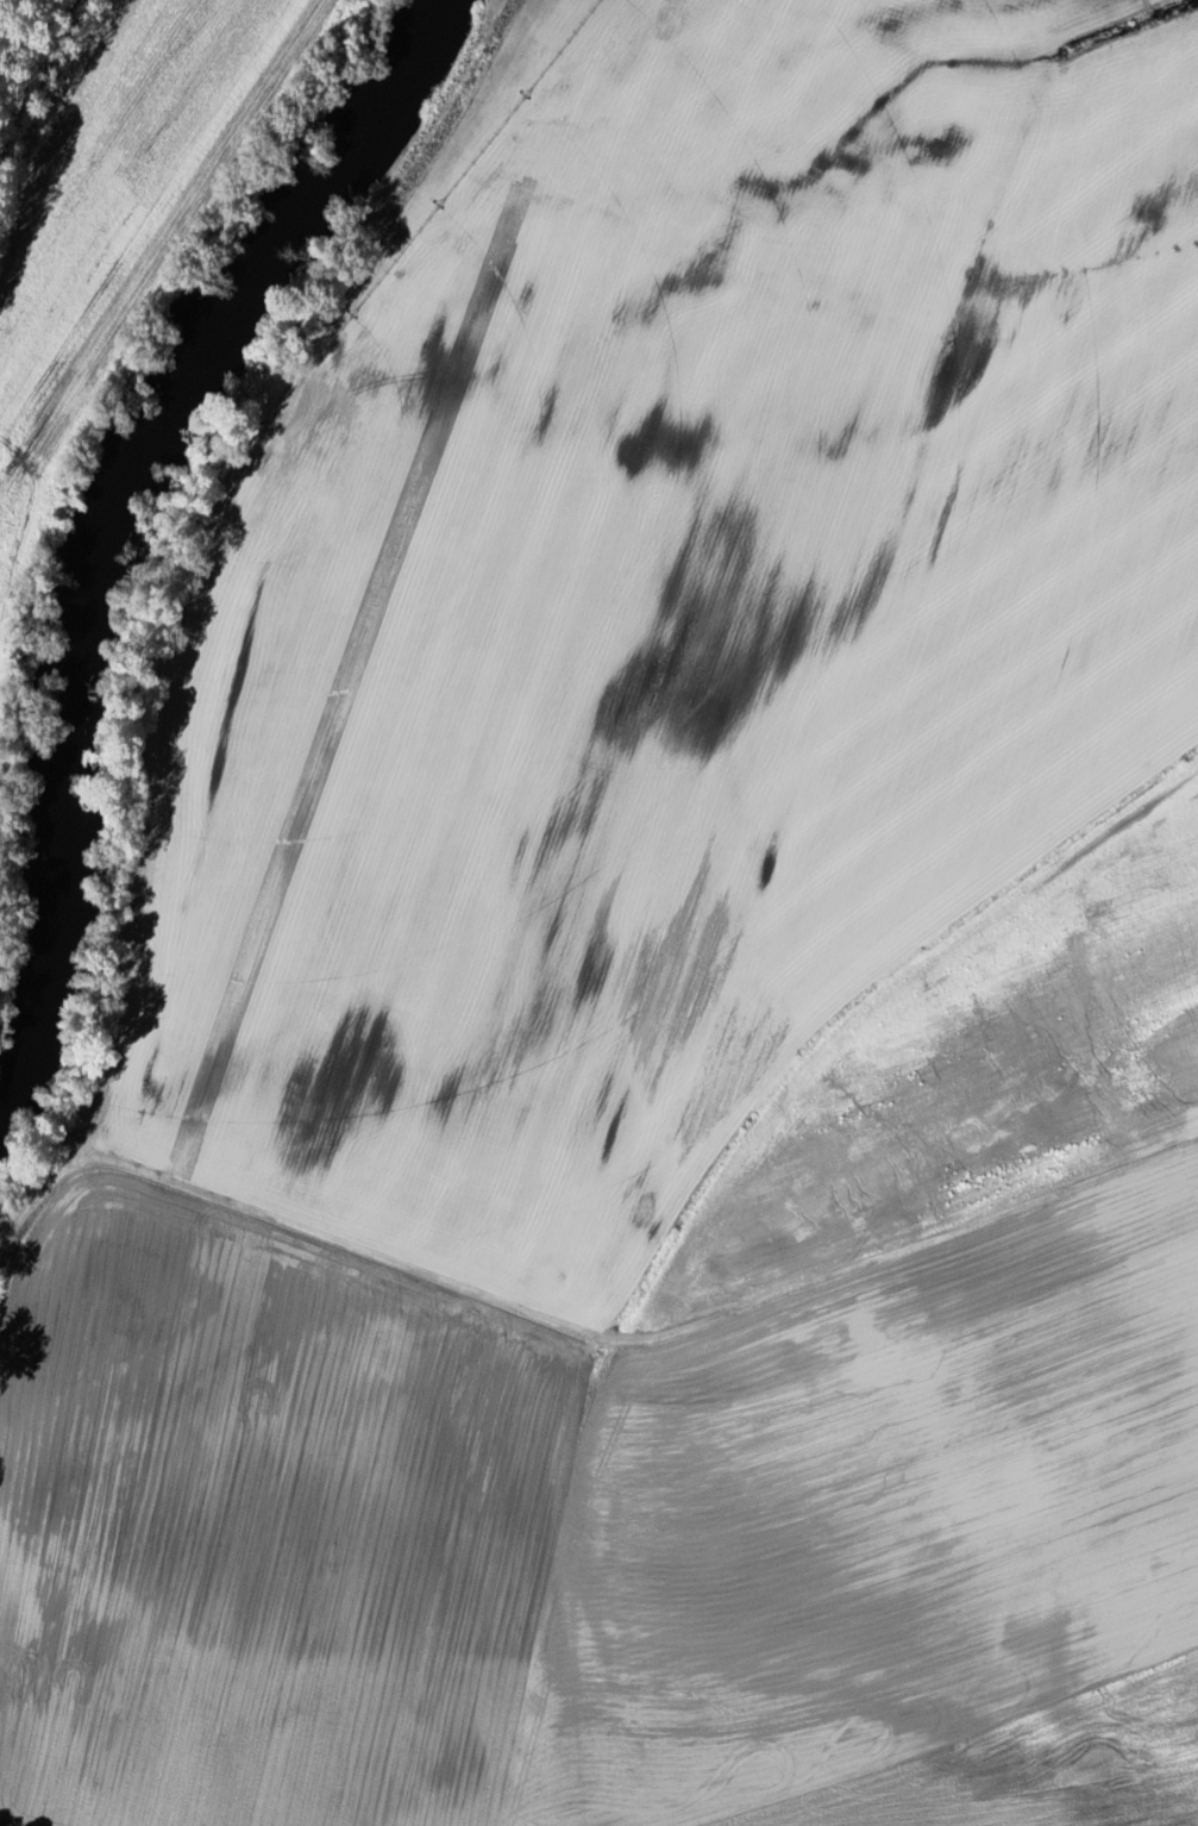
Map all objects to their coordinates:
river: (112, 523)

